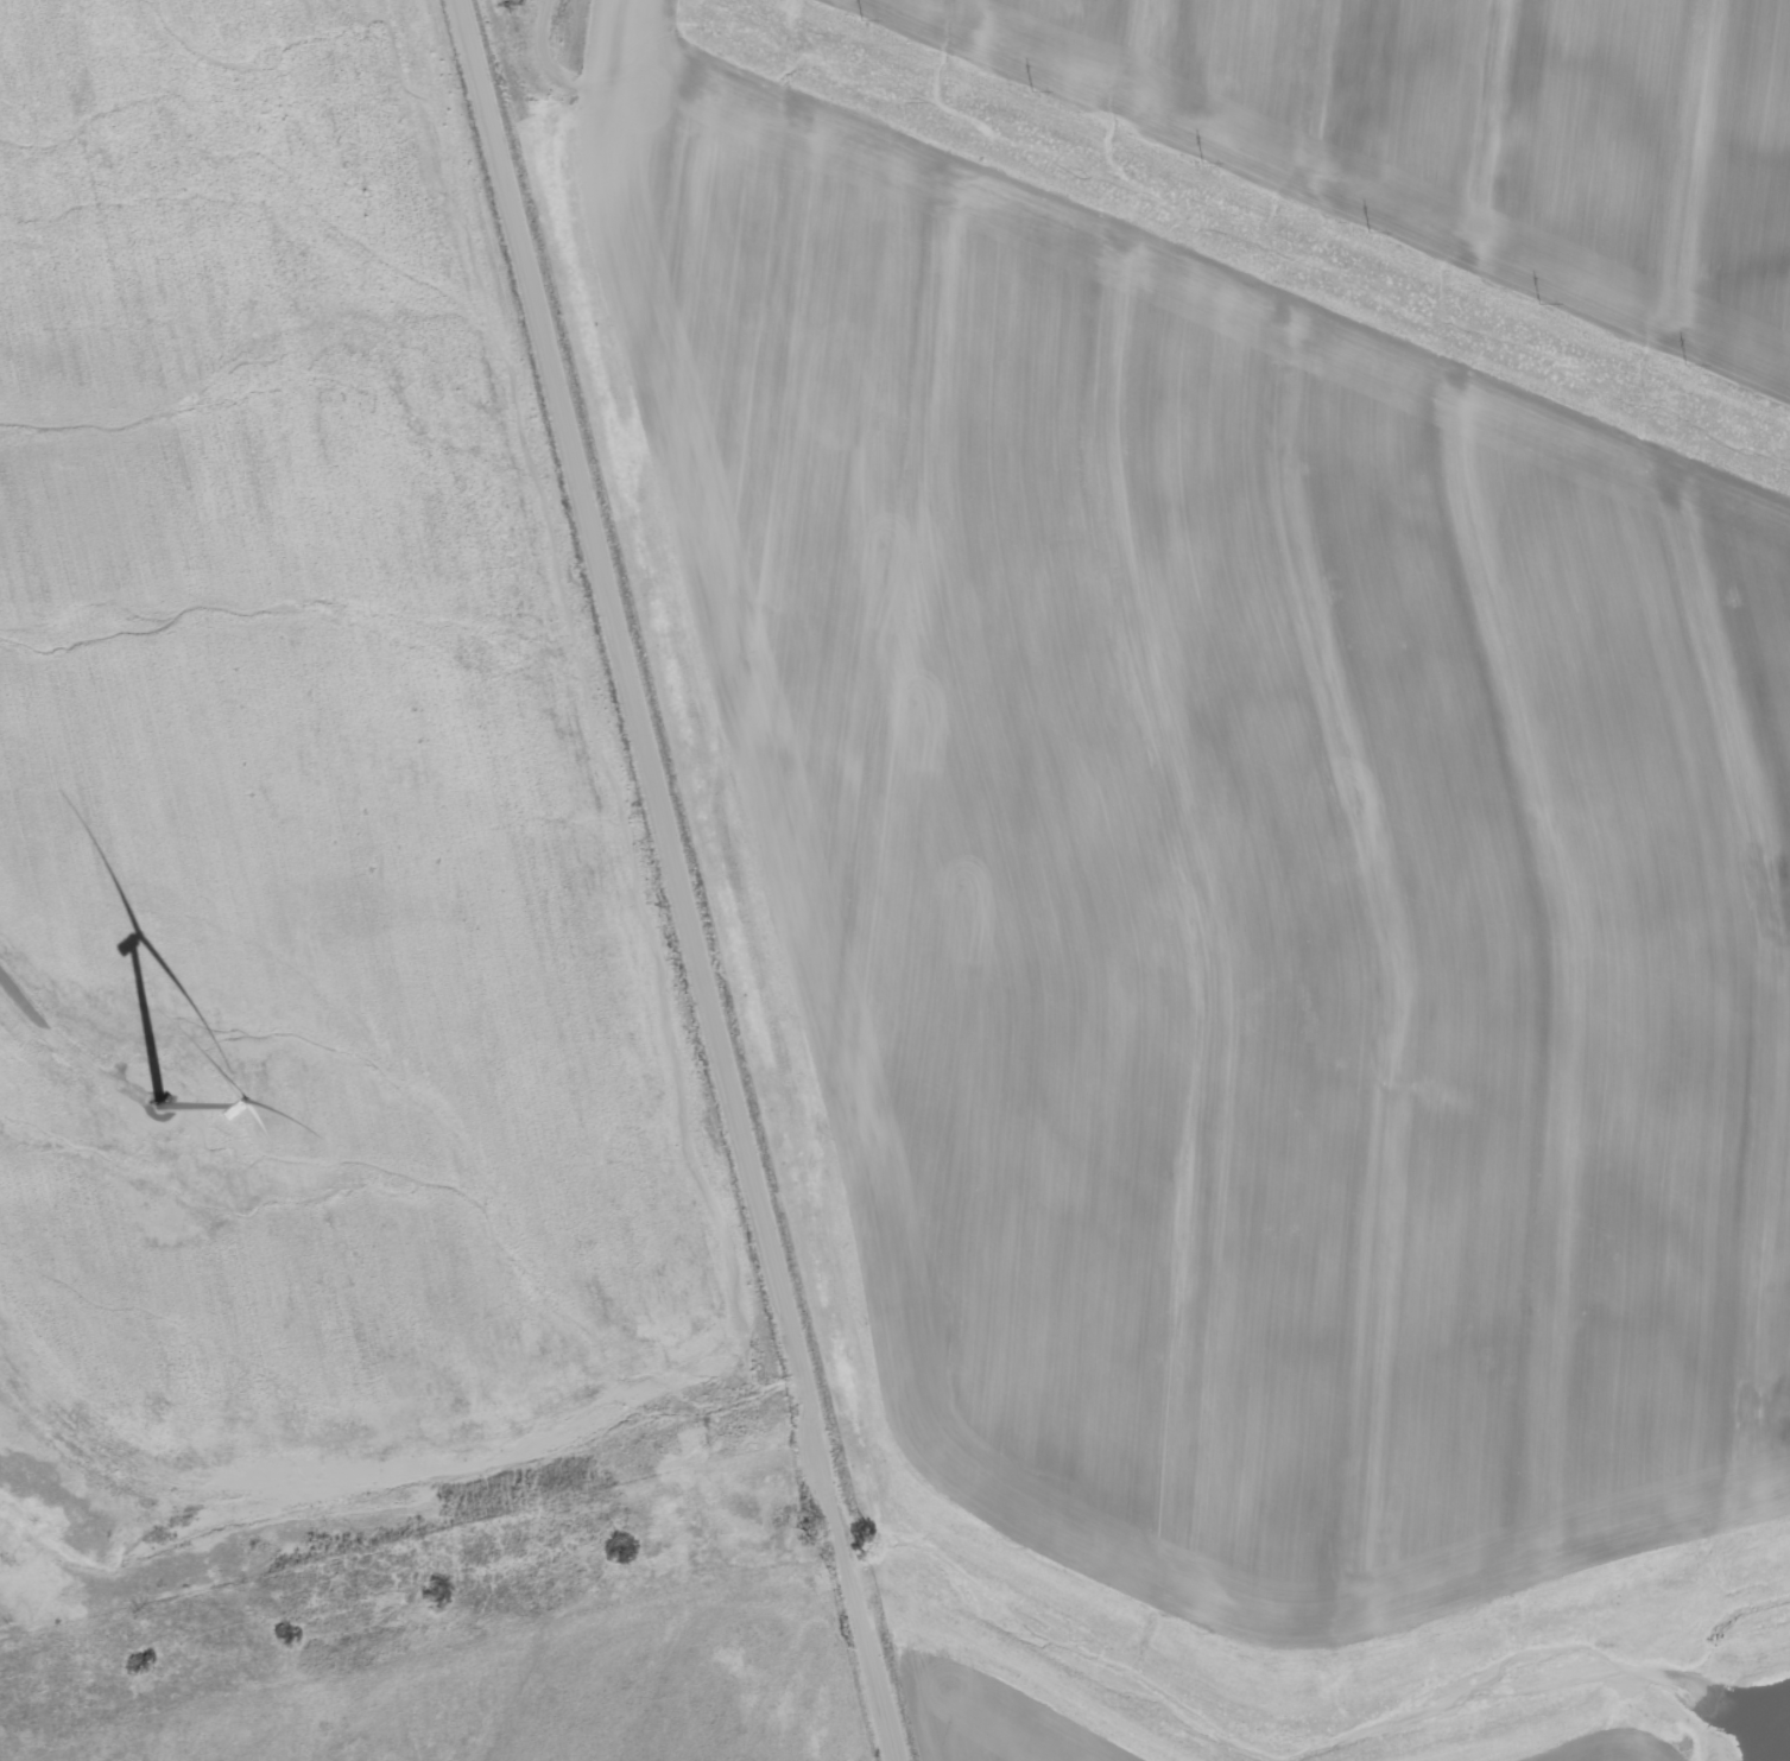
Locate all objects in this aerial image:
road: (677, 880)
wind turbine: (151, 1098)

